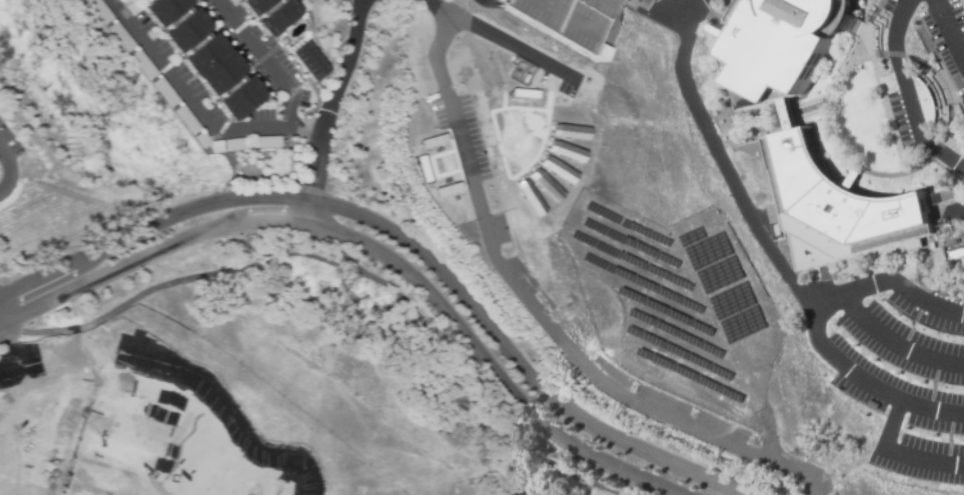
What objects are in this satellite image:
building: (128, 0)
building: (232, 1)
road: (644, 6)
road: (452, 7)
building: (98, 11)
building: (266, 13)
road: (955, 13)
road: (716, 14)
building: (172, 18)
building: (572, 22)
parking garage: (572, 22)
park: (489, 26)
road: (585, 26)
road: (950, 27)
building: (120, 37)
building: (781, 43)
road: (512, 47)
road: (881, 54)
road: (260, 59)
building: (311, 61)
building: (142, 65)
building: (210, 65)
parking lot: (925, 83)
road: (880, 87)
building: (163, 93)
road: (907, 95)
building: (238, 98)
road: (811, 106)
road: (198, 108)
road: (332, 110)
building: (787, 114)
road: (948, 115)
building: (185, 121)
road: (734, 130)
building: (569, 131)
building: (200, 140)
building: (265, 141)
building: (235, 145)
park: (464, 147)
building: (216, 148)
building: (565, 151)
road: (717, 157)
road: (239, 162)
road: (6, 165)
building: (557, 169)
road: (946, 169)
road: (898, 172)
building: (544, 185)
building: (943, 190)
building: (940, 196)
building: (529, 197)
building: (840, 204)
road: (958, 209)
building: (944, 229)
road: (405, 235)
road: (373, 248)
building: (956, 254)
road: (351, 265)
road: (919, 265)
road: (887, 282)
solar farm: (678, 298)
road: (537, 312)
road: (893, 343)
parking lot: (897, 366)
road: (865, 383)
road: (763, 428)
road: (896, 455)

